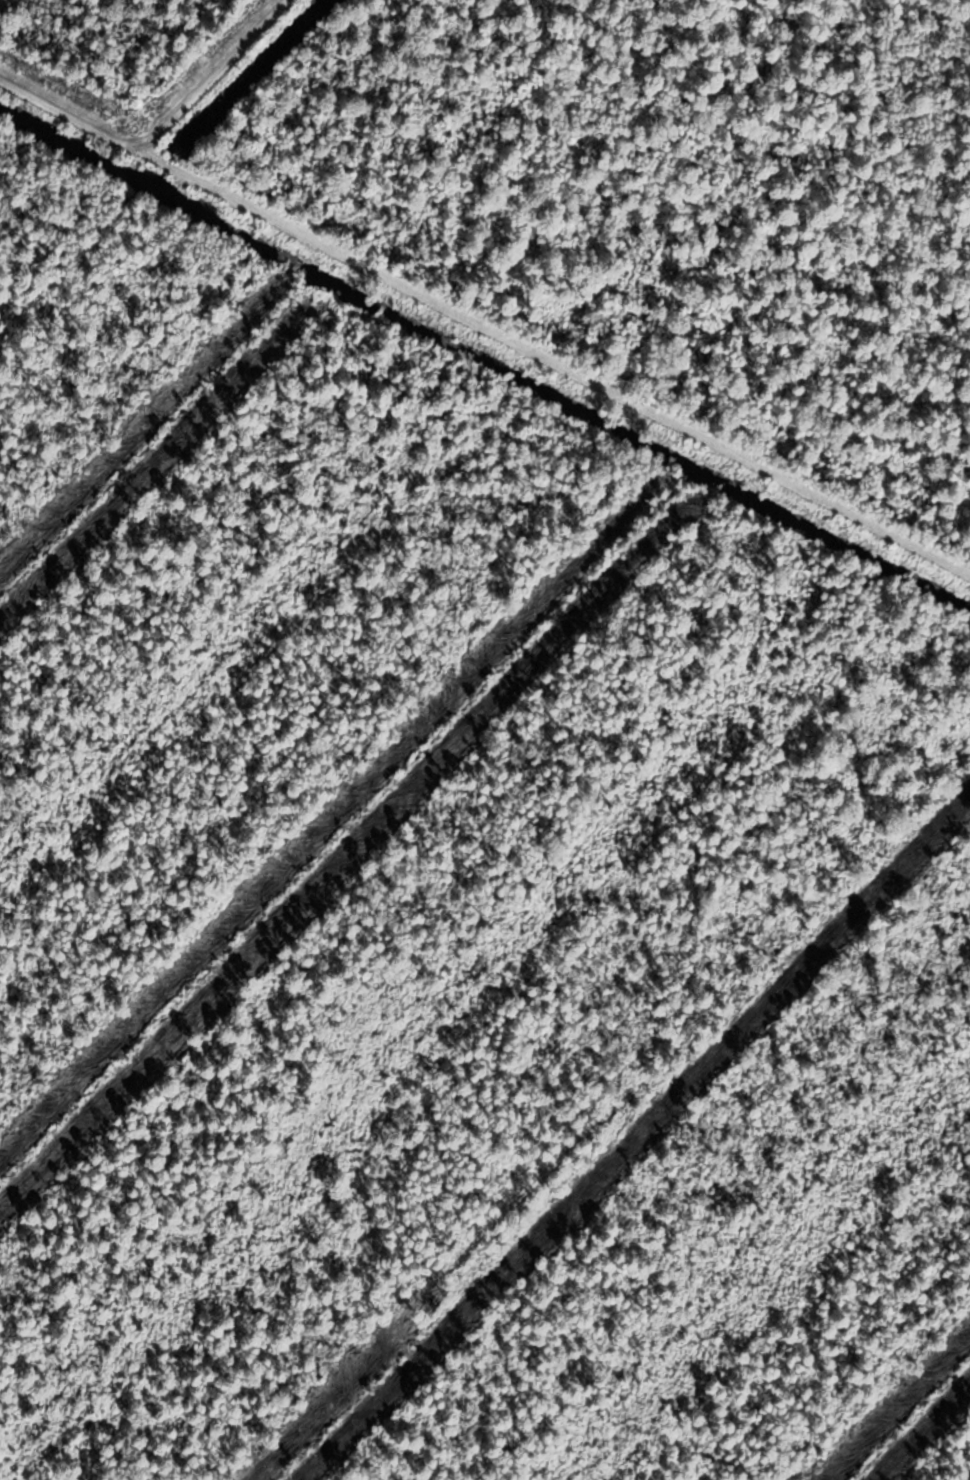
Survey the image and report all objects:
road: (208, 77)
road: (66, 119)
road: (153, 167)
road: (571, 382)

